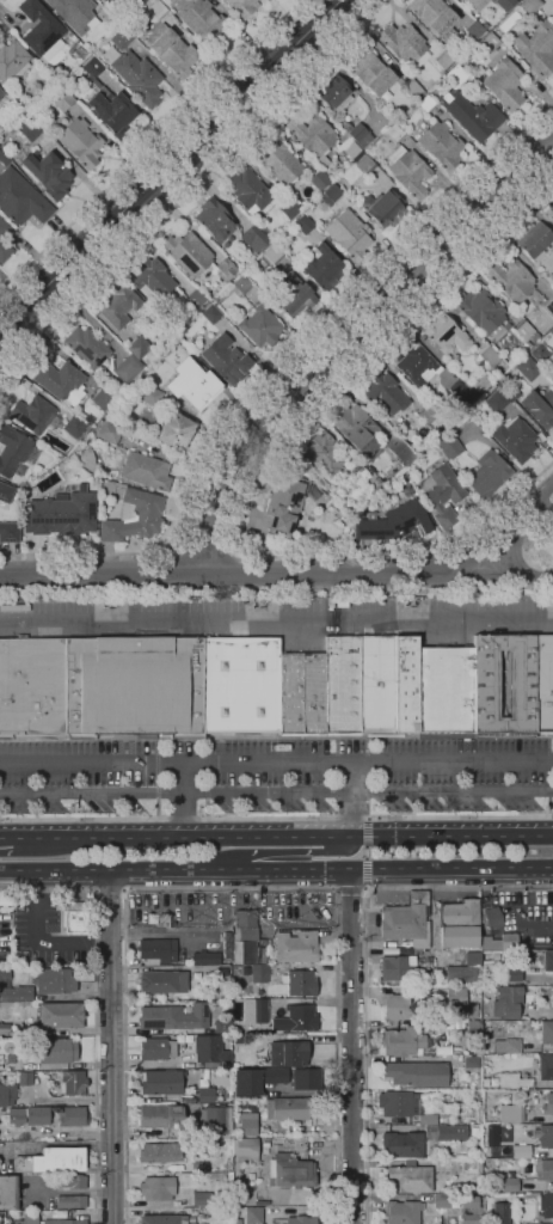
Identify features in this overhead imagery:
building: (463, 0)
building: (477, 4)
building: (505, 4)
building: (530, 5)
building: (242, 7)
building: (158, 10)
building: (74, 13)
building: (434, 16)
building: (203, 20)
building: (506, 24)
building: (484, 25)
building: (41, 30)
building: (474, 30)
building: (122, 38)
building: (490, 42)
building: (404, 44)
building: (536, 48)
building: (172, 50)
building: (443, 60)
building: (12, 61)
building: (90, 68)
building: (370, 73)
building: (139, 78)
building: (424, 82)
building: (504, 85)
building: (412, 90)
building: (1, 93)
building: (334, 93)
building: (61, 99)
building: (426, 104)
building: (468, 108)
building: (110, 110)
building: (30, 129)
building: (355, 133)
building: (394, 133)
building: (0, 135)
building: (313, 136)
building: (80, 142)
building: (441, 145)
road: (149, 147)
building: (352, 151)
building: (301, 158)
building: (4, 159)
building: (278, 161)
building: (365, 165)
road: (167, 167)
building: (408, 171)
building: (48, 173)
building: (319, 180)
road: (185, 188)
building: (248, 190)
building: (331, 196)
building: (20, 198)
building: (381, 208)
building: (289, 209)
building: (549, 212)
building: (214, 220)
building: (303, 225)
building: (349, 234)
building: (4, 235)
building: (256, 239)
building: (535, 241)
building: (188, 253)
building: (272, 255)
building: (322, 267)
building: (225, 269)
building: (152, 279)
building: (511, 280)
building: (236, 286)
building: (211, 296)
building: (290, 296)
building: (196, 298)
building: (118, 305)
building: (548, 307)
building: (483, 312)
building: (211, 314)
building: (532, 317)
building: (260, 326)
building: (526, 330)
building: (551, 331)
building: (444, 333)
road: (345, 337)
building: (87, 347)
building: (139, 347)
building: (539, 353)
building: (172, 354)
building: (487, 354)
building: (225, 360)
building: (549, 362)
building: (417, 366)
building: (528, 367)
building: (128, 368)
building: (160, 372)
road: (275, 372)
building: (61, 382)
building: (191, 382)
building: (480, 382)
building: (461, 390)
building: (149, 394)
building: (383, 394)
building: (481, 394)
building: (103, 398)
building: (496, 400)
building: (540, 408)
building: (32, 415)
building: (426, 415)
building: (74, 427)
building: (109, 430)
building: (174, 430)
building: (357, 430)
building: (515, 439)
building: (448, 445)
building: (13, 449)
building: (399, 449)
building: (322, 453)
building: (86, 459)
building: (146, 471)
road: (246, 473)
building: (487, 475)
building: (367, 477)
building: (403, 478)
building: (6, 492)
building: (442, 492)
building: (283, 503)
building: (61, 515)
building: (134, 516)
building: (394, 522)
road: (500, 531)
building: (10, 532)
road: (537, 533)
road: (504, 535)
road: (205, 543)
road: (516, 568)
road: (225, 569)
road: (424, 570)
road: (179, 571)
road: (276, 575)
road: (276, 589)
road: (276, 622)
building: (271, 687)
road: (276, 763)
road: (276, 792)
road: (183, 797)
road: (351, 797)
road: (276, 818)
road: (367, 819)
road: (282, 832)
road: (6, 834)
road: (281, 853)
road: (367, 853)
road: (276, 874)
road: (457, 888)
road: (229, 889)
road: (336, 889)
road: (350, 889)
road: (109, 891)
building: (76, 917)
building: (492, 917)
building: (407, 920)
building: (166, 922)
building: (459, 923)
building: (245, 925)
building: (509, 942)
building: (491, 943)
building: (295, 947)
building: (158, 949)
building: (247, 951)
building: (425, 953)
building: (431, 954)
building: (205, 957)
building: (548, 961)
building: (400, 968)
building: (465, 969)
building: (258, 973)
building: (511, 973)
building: (195, 977)
building: (432, 979)
building: (54, 980)
building: (162, 981)
building: (225, 983)
building: (301, 983)
building: (13, 989)
building: (552, 997)
building: (459, 1000)
building: (505, 1003)
building: (400, 1005)
building: (258, 1008)
road: (94, 1010)
building: (60, 1014)
building: (454, 1015)
building: (173, 1016)
building: (295, 1018)
building: (222, 1026)
building: (5, 1028)
building: (473, 1028)
building: (131, 1030)
building: (546, 1032)
building: (238, 1039)
building: (404, 1040)
building: (512, 1046)
building: (160, 1047)
road: (109, 1048)
road: (350, 1048)
building: (209, 1049)
building: (475, 1049)
building: (57, 1051)
building: (288, 1052)
road: (365, 1054)
building: (11, 1059)
building: (471, 1061)
building: (545, 1067)
building: (417, 1072)
building: (196, 1075)
building: (275, 1075)
building: (25, 1077)
building: (305, 1078)
building: (512, 1081)
building: (73, 1082)
building: (161, 1082)
building: (485, 1082)
building: (246, 1084)
building: (7, 1094)
building: (210, 1094)
building: (444, 1096)
building: (398, 1103)
building: (547, 1104)
building: (287, 1109)
building: (510, 1113)
building: (38, 1114)
building: (16, 1115)
building: (73, 1115)
building: (160, 1115)
building: (462, 1116)
building: (216, 1119)
building: (428, 1119)
building: (248, 1124)
building: (446, 1132)
building: (475, 1132)
building: (492, 1133)
building: (543, 1136)
building: (403, 1144)
building: (246, 1149)
building: (159, 1152)
building: (53, 1158)
building: (472, 1165)
building: (198, 1167)
building: (527, 1167)
building: (543, 1168)
building: (290, 1171)
building: (442, 1171)
building: (408, 1177)
building: (70, 1181)
building: (502, 1182)
building: (475, 1183)
building: (156, 1188)
building: (8, 1193)
building: (202, 1198)
building: (238, 1200)
building: (70, 1201)
building: (227, 1201)
building: (442, 1201)
building: (262, 1202)
building: (214, 1204)
building: (546, 1204)
building: (211, 1208)
building: (477, 1210)
building: (403, 1211)
building: (502, 1213)
building: (253, 1216)
building: (162, 1219)
building: (300, 1219)
building: (44, 1220)
building: (238, 1220)
building: (225, 1222)

